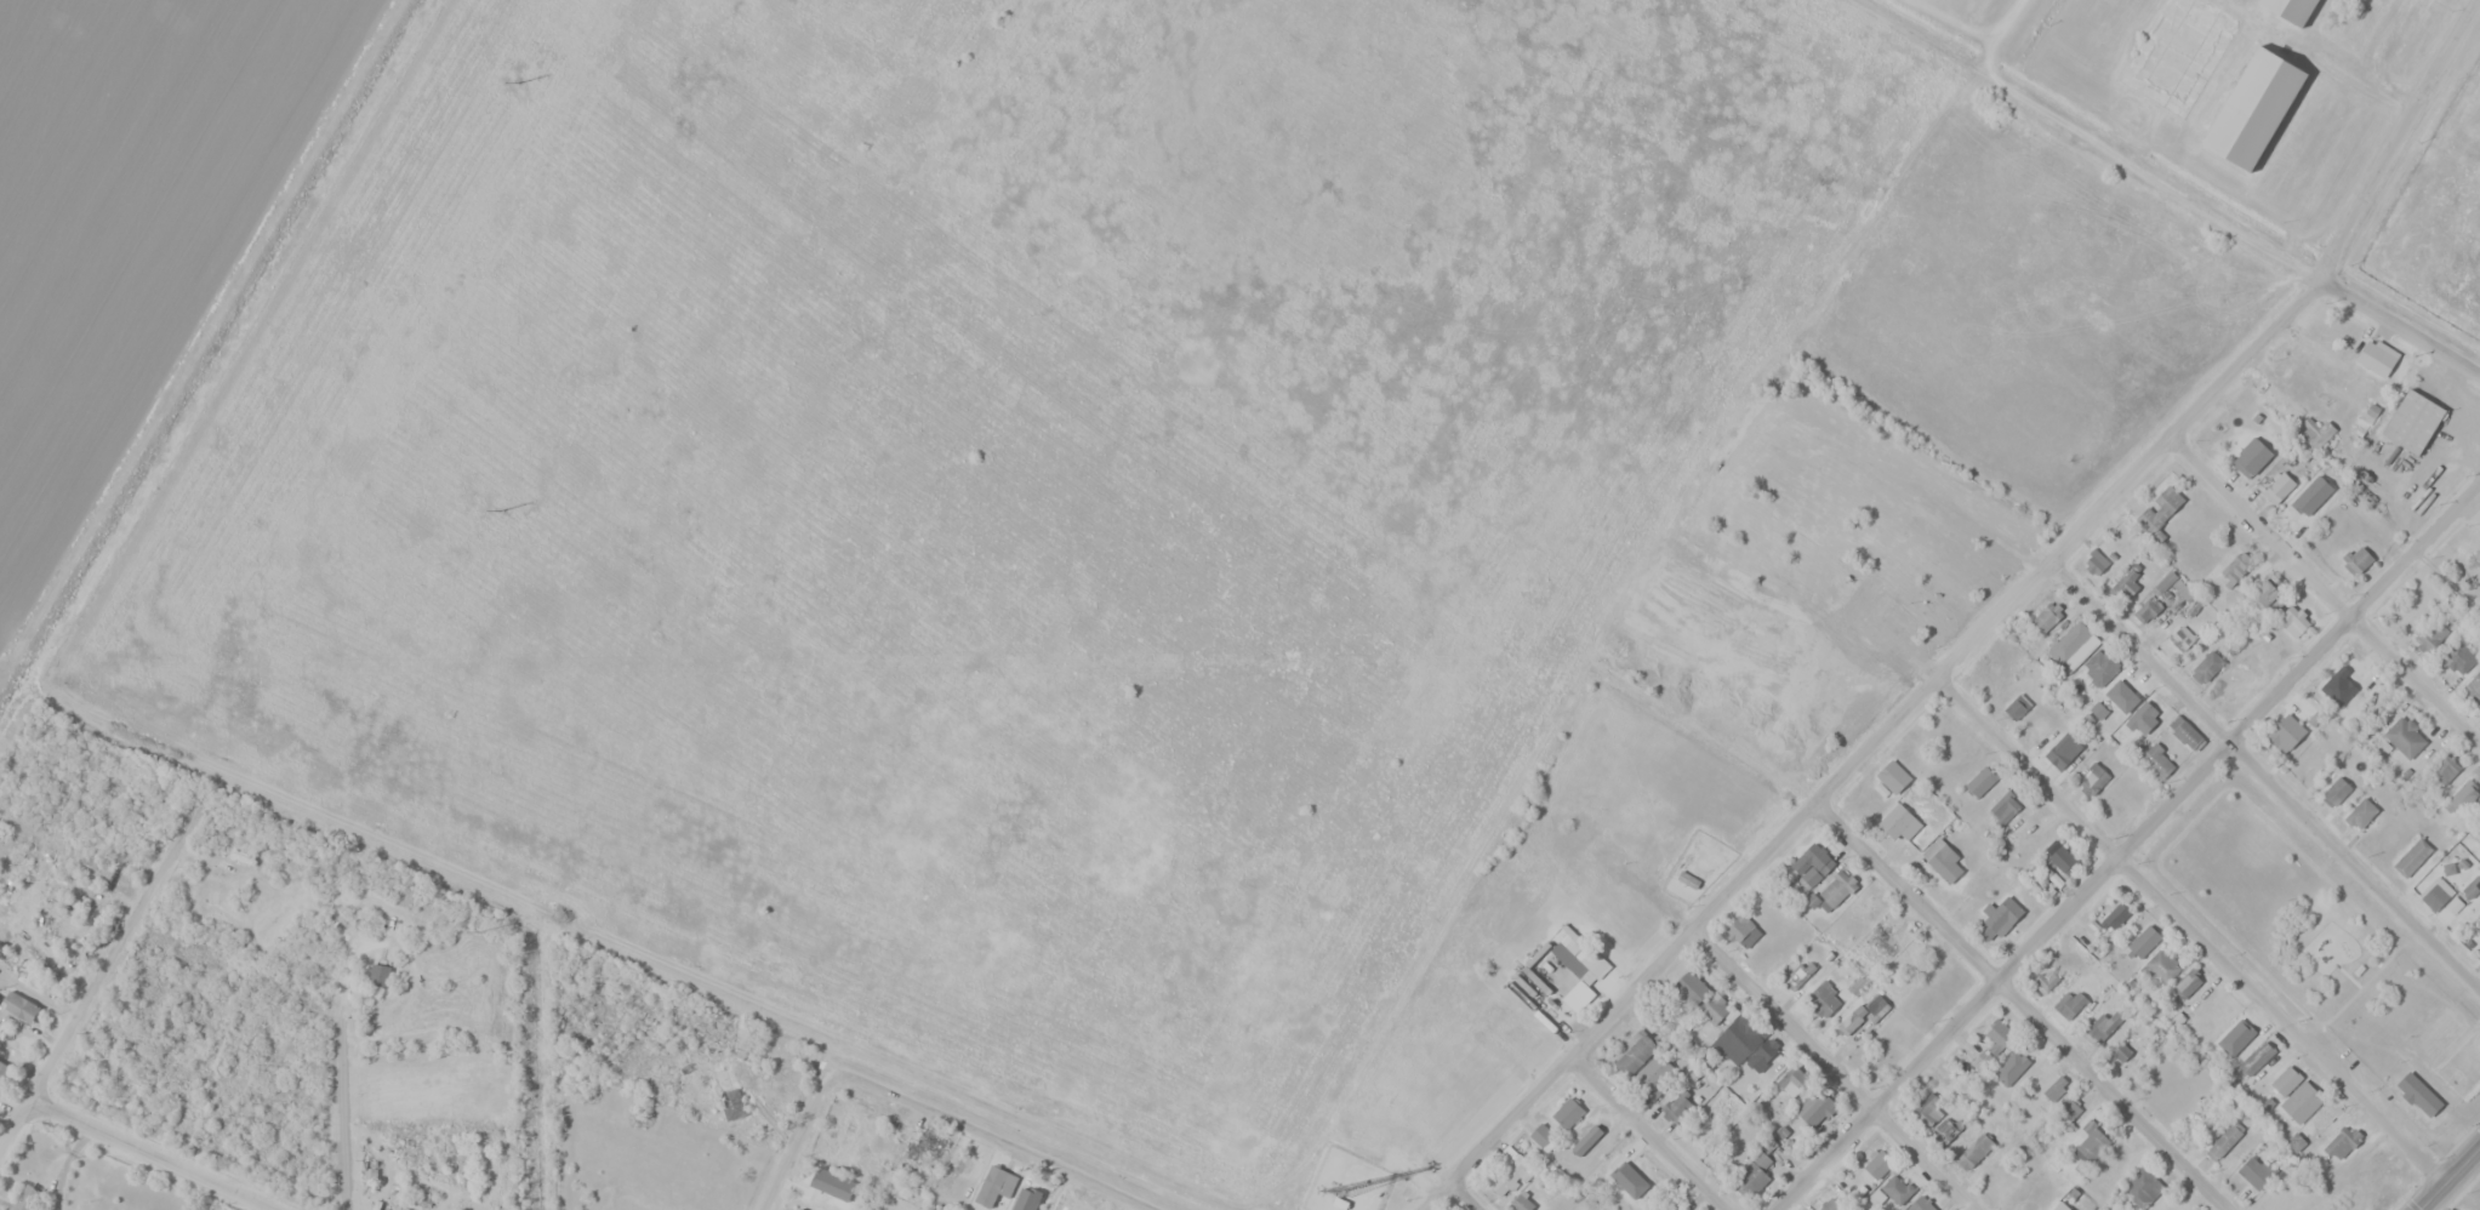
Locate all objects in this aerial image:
building: (2292, 13)
road: (2008, 35)
building: (2178, 57)
power tower: (515, 84)
building: (2257, 114)
road: (2398, 142)
road: (2171, 187)
building: (2374, 358)
building: (2412, 428)
building: (2252, 456)
building: (2280, 485)
building: (2305, 500)
power tower: (498, 510)
building: (2159, 510)
building: (1851, 531)
building: (2356, 560)
building: (2096, 561)
building: (2234, 569)
building: (1933, 580)
building: (2123, 586)
building: (2265, 593)
road: (2332, 594)
building: (2147, 610)
building: (2046, 617)
building: (2430, 634)
building: (2182, 637)
building: (2070, 639)
building: (2458, 657)
building: (2207, 663)
building: (2099, 666)
building: (2345, 675)
building: (2239, 680)
building: (2473, 687)
building: (2121, 695)
building: (2017, 706)
building: (2143, 717)
building: (2290, 730)
building: (2184, 731)
road: (1885, 734)
building: (2404, 736)
building: (2063, 750)
building: (2157, 760)
building: (2445, 767)
building: (2092, 780)
road: (2268, 780)
building: (1980, 781)
building: (2336, 791)
building: (2463, 795)
building: (2003, 807)
building: (2361, 812)
building: (1899, 822)
building: (2475, 826)
road: (2132, 850)
building: (2060, 857)
building: (2412, 857)
building: (1942, 860)
building: (1812, 863)
road: (2441, 884)
building: (1835, 890)
building: (2435, 892)
building: (1999, 917)
building: (2115, 917)
building: (1743, 931)
power tower: (481, 932)
road: (2191, 932)
building: (2085, 935)
building: (1883, 938)
building: (2143, 942)
building: (1910, 953)
building: (2161, 965)
building: (1561, 968)
building: (1800, 974)
building: (378, 975)
building: (2046, 981)
building: (2188, 982)
building: (1691, 987)
building: (1823, 999)
road: (2024, 1003)
building: (2070, 1003)
road: (85, 1004)
building: (19, 1006)
building: (1712, 1009)
building: (1864, 1014)
building: (1995, 1035)
building: (1738, 1038)
building: (2231, 1041)
building: (2120, 1050)
building: (1636, 1052)
building: (1763, 1054)
building: (2256, 1057)
building: (2019, 1062)
road: (1832, 1071)
building: (1652, 1072)
building: (4, 1073)
building: (1791, 1079)
building: (2285, 1080)
road: (352, 1081)
building: (2054, 1086)
building: (728, 1094)
building: (2418, 1094)
building: (2302, 1101)
building: (1815, 1107)
building: (1928, 1109)
building: (2068, 1109)
building: (1567, 1113)
building: (1945, 1129)
road: (1651, 1134)
building: (1543, 1136)
building: (2224, 1141)
building: (2343, 1141)
road: (797, 1142)
road: (981, 1142)
building: (2092, 1143)
building: (923, 1145)
building: (1973, 1152)
road: (147, 1154)
building: (960, 1163)
building: (1877, 1164)
building: (370, 1169)
building: (1511, 1170)
building: (2254, 1172)
building: (1631, 1175)
building: (1751, 1175)
road: (2451, 1178)
building: (994, 1186)
building: (2142, 1187)
building: (1031, 1188)
building: (1897, 1188)
road: (1463, 1197)
building: (28, 1198)
building: (1521, 1203)
building: (1829, 1204)
building: (1920, 1204)
building: (1667, 1205)
building: (387, 1209)
building: (802, 1209)
building: (2469, 1209)

